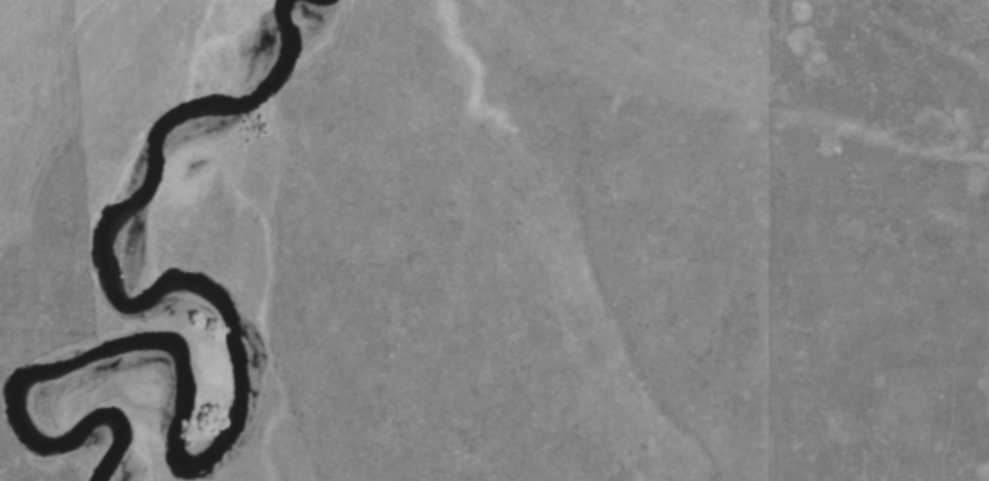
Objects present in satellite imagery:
river: (237, 361)

